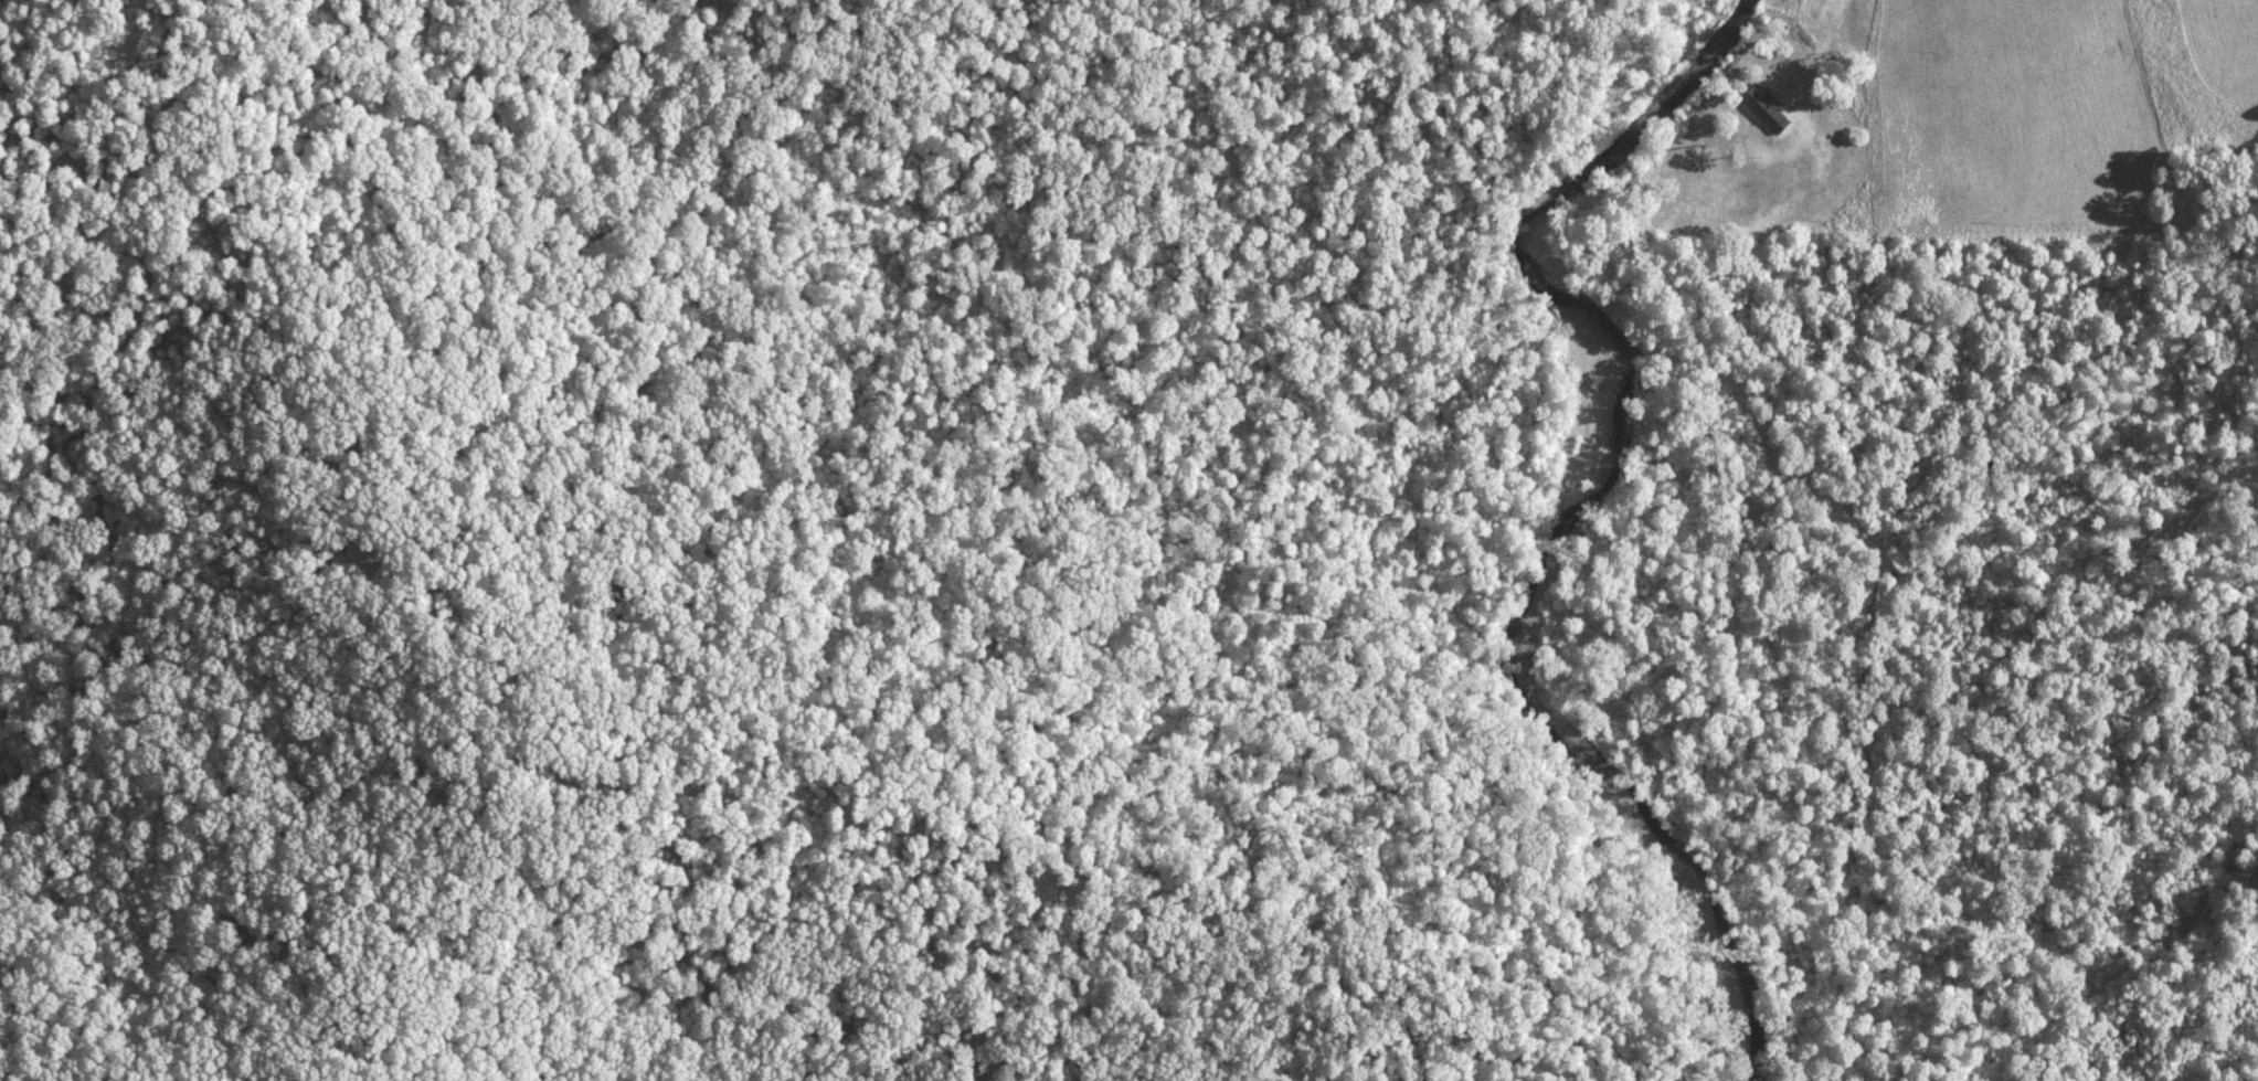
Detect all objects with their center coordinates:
building: (1769, 113)

